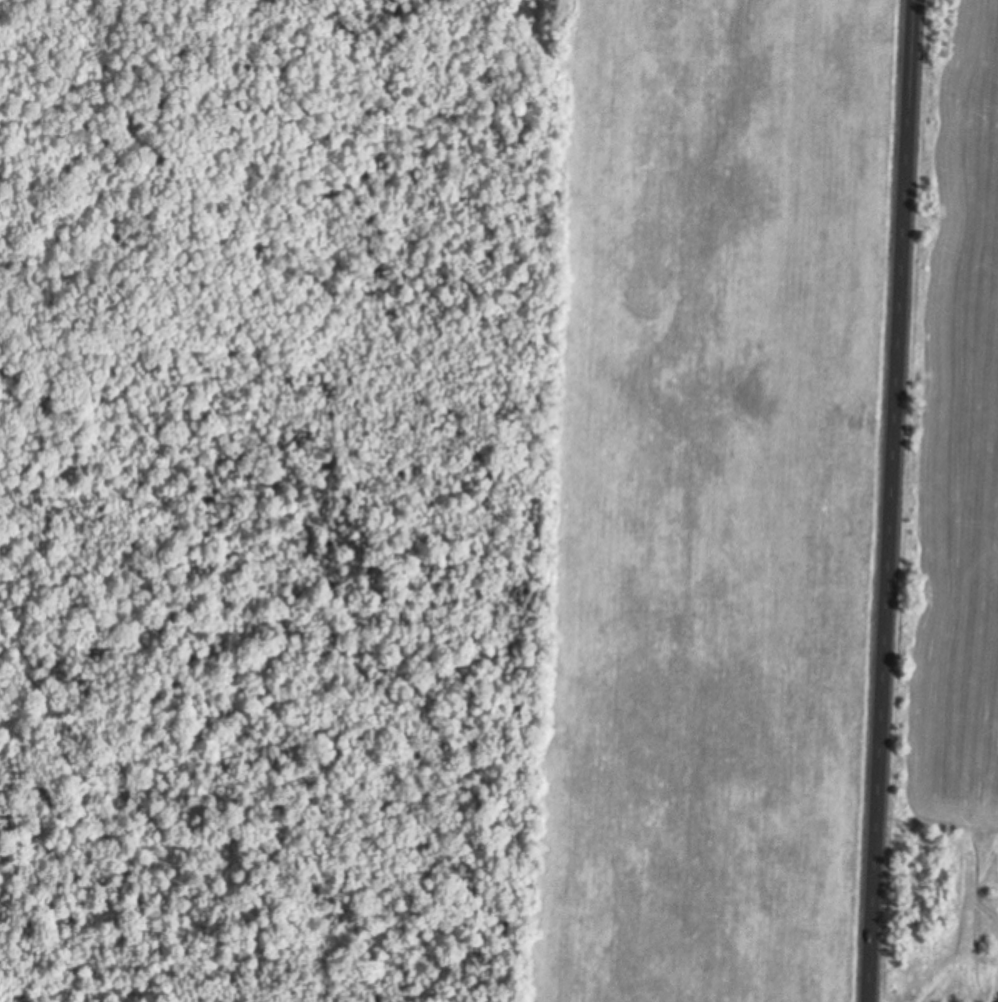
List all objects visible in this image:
road: (891, 500)

